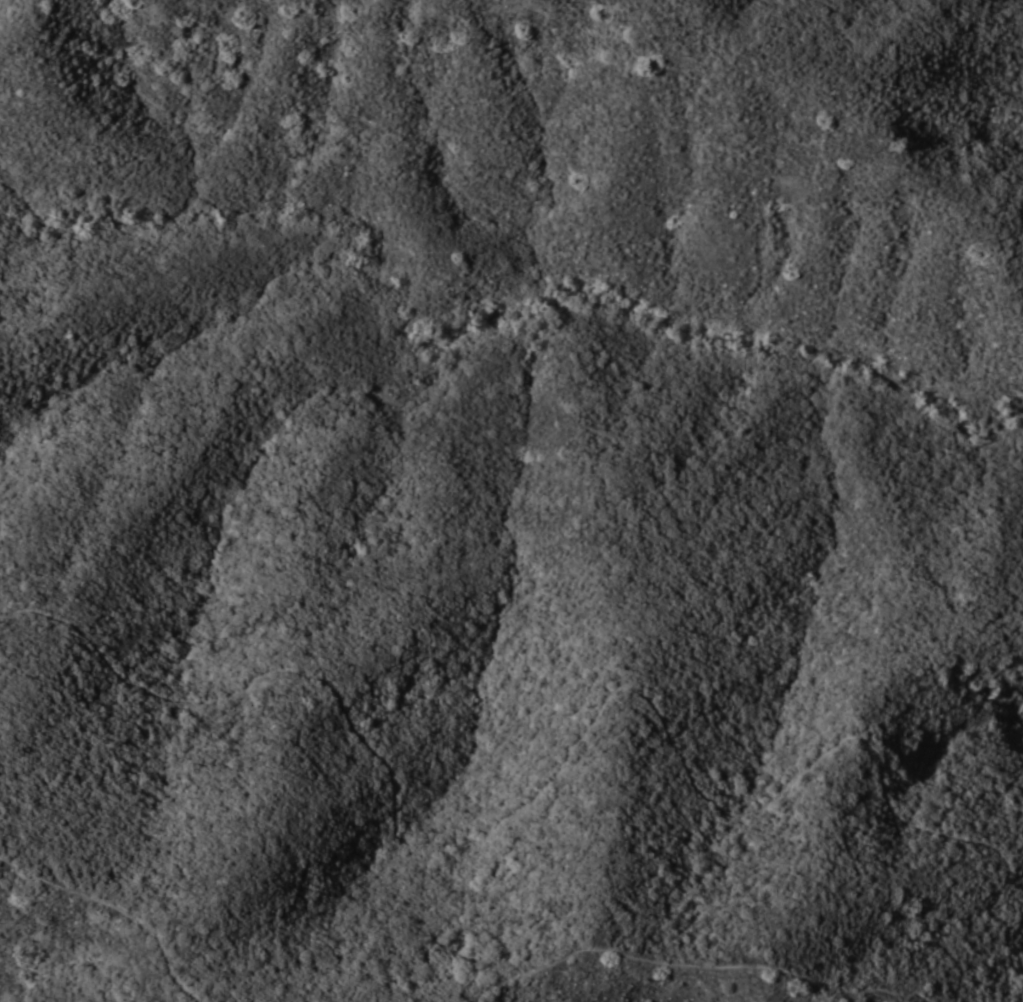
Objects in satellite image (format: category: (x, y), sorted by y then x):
road: (561, 750)
road: (114, 907)
road: (702, 966)

